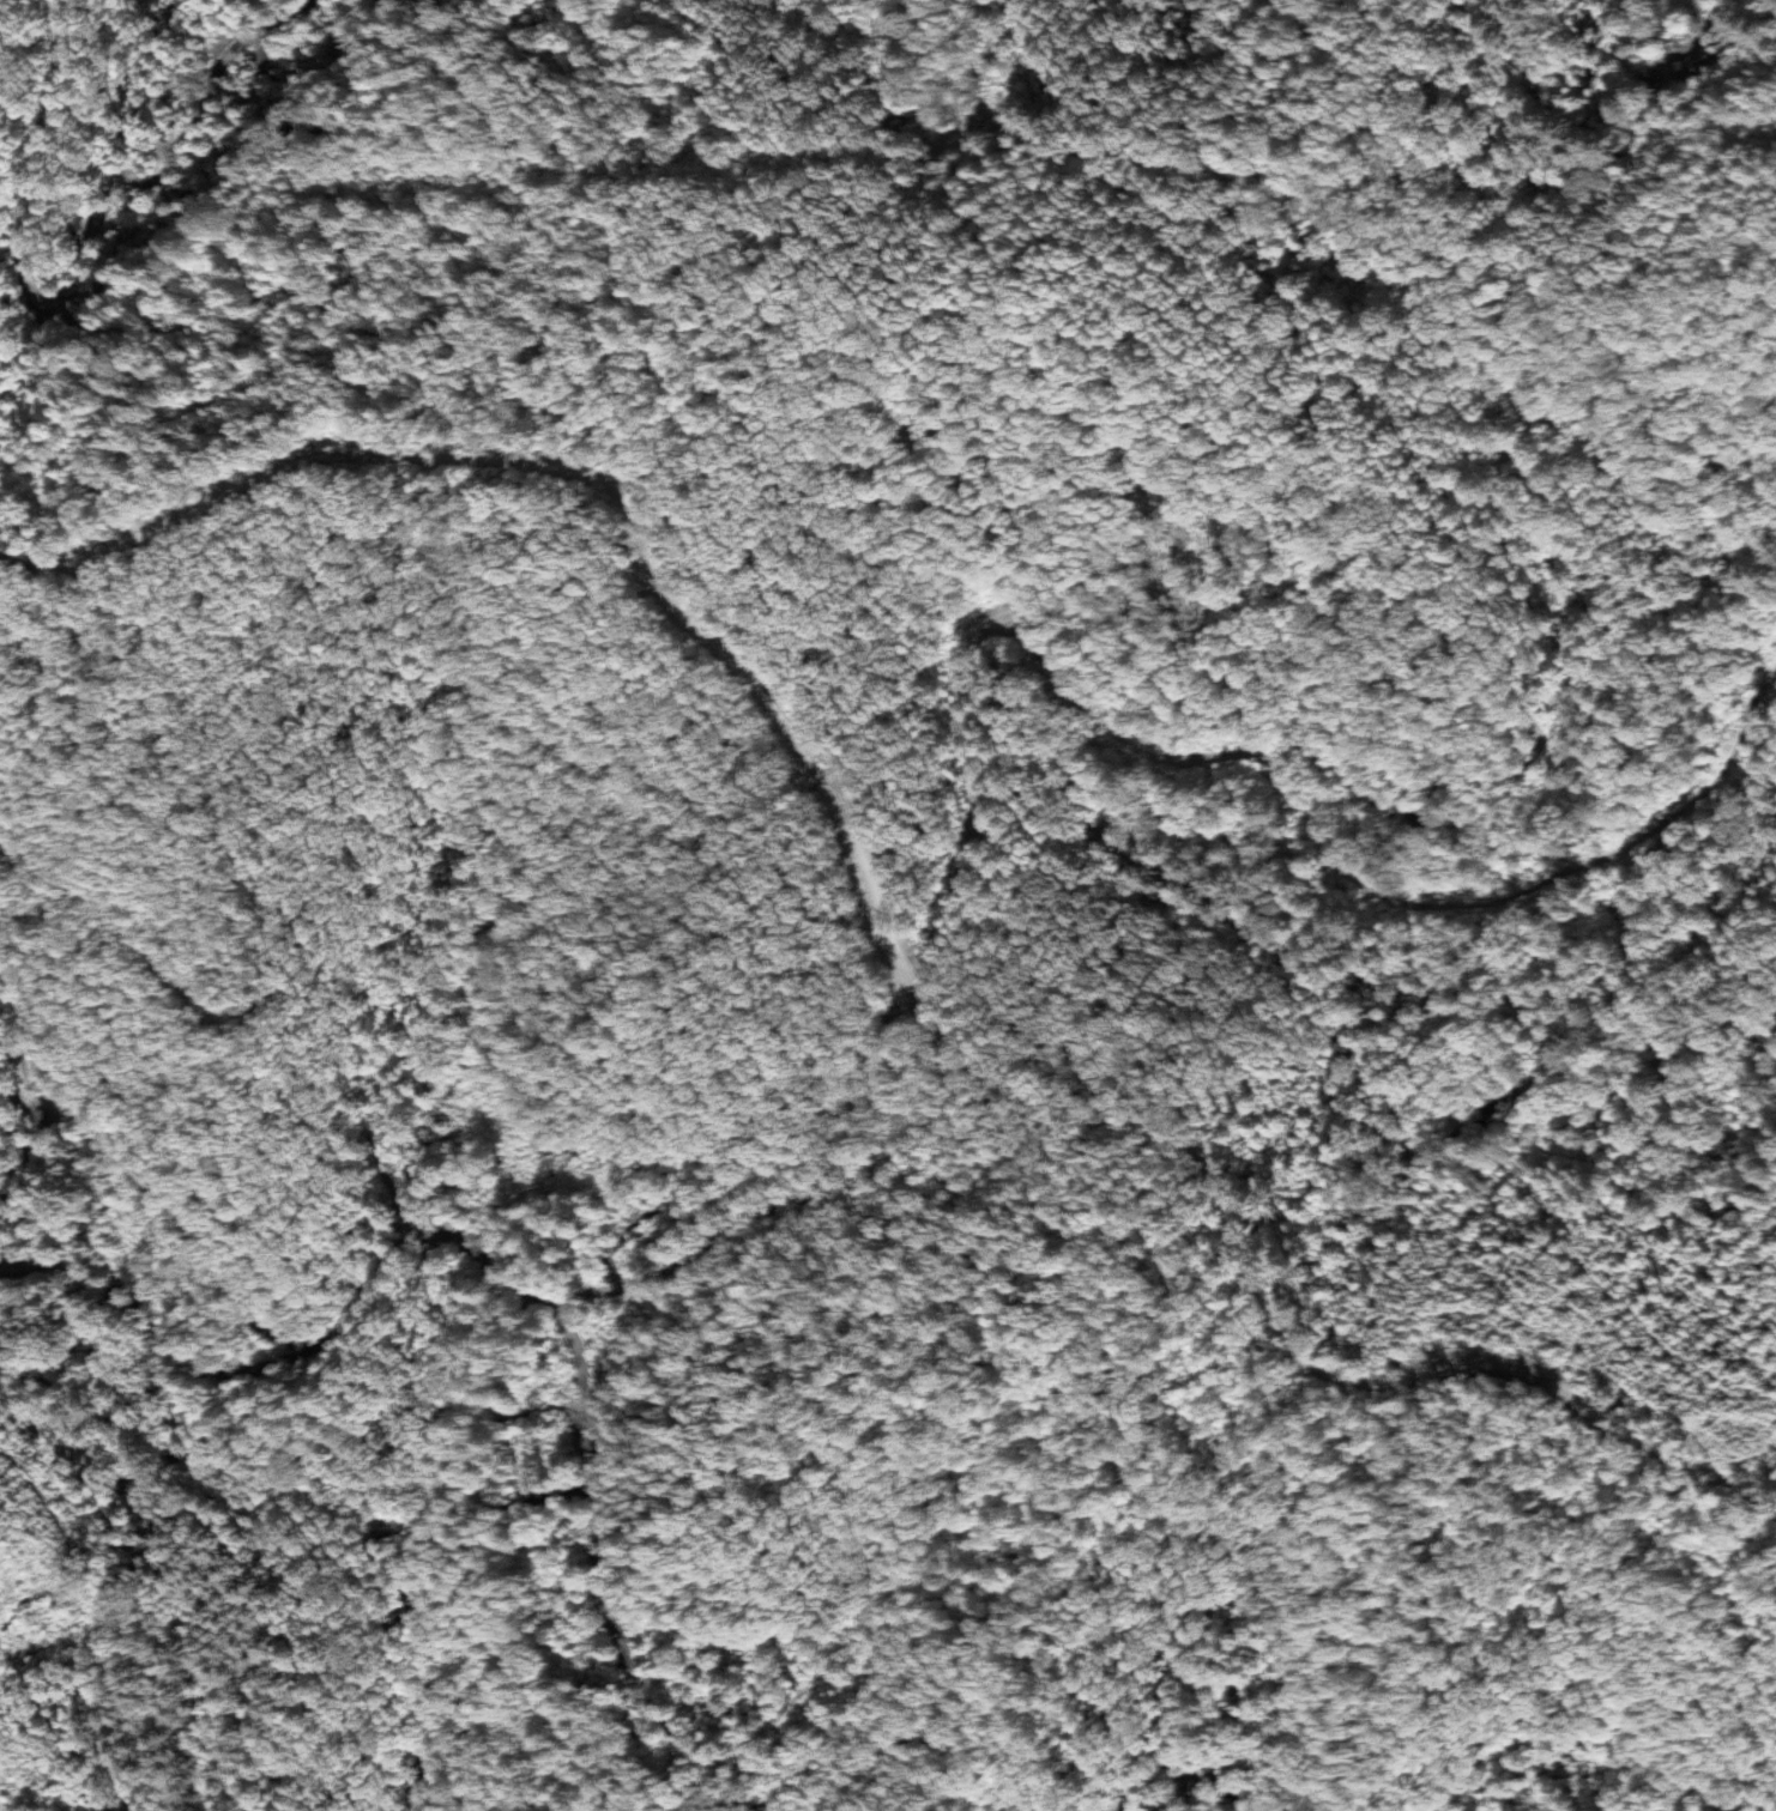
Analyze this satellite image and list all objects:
building: (1701, 57)
road: (854, 993)

